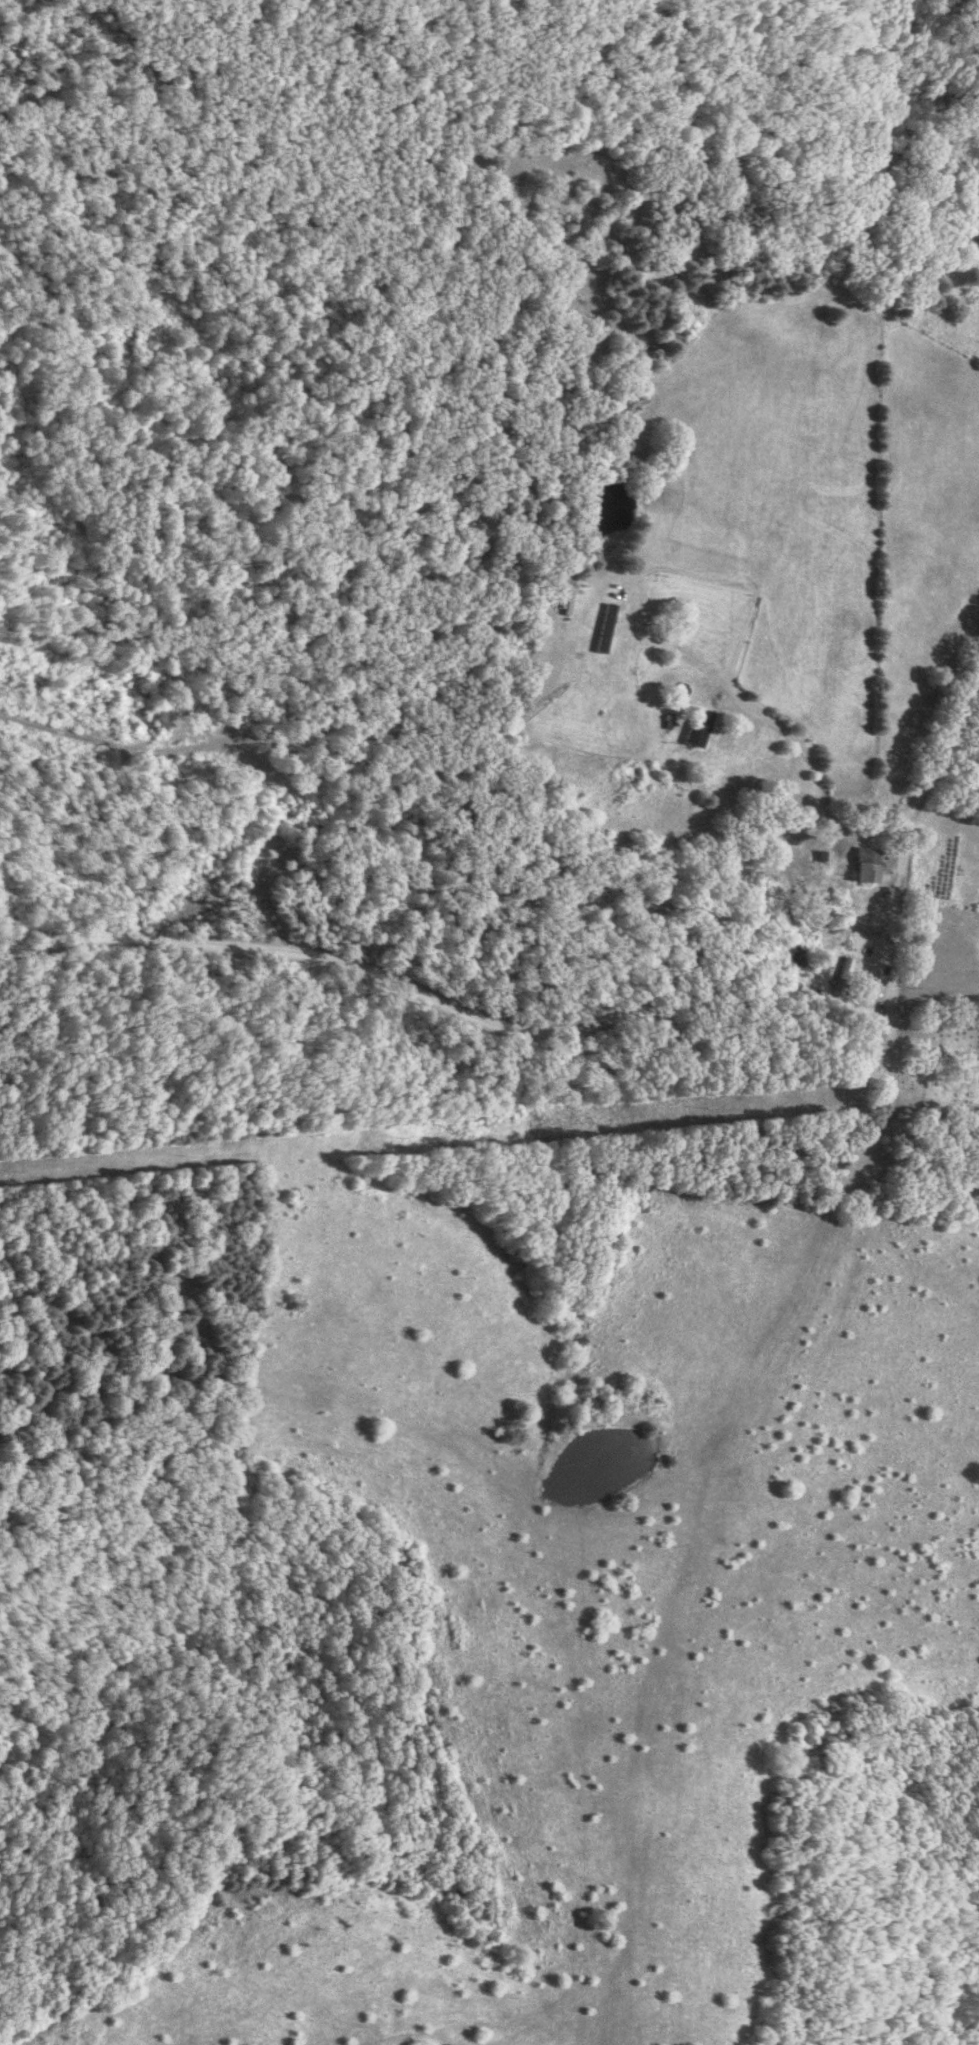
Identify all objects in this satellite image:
building: (606, 628)
road: (754, 713)
building: (699, 730)
road: (938, 733)
building: (866, 870)
road: (489, 1018)
road: (895, 1189)

